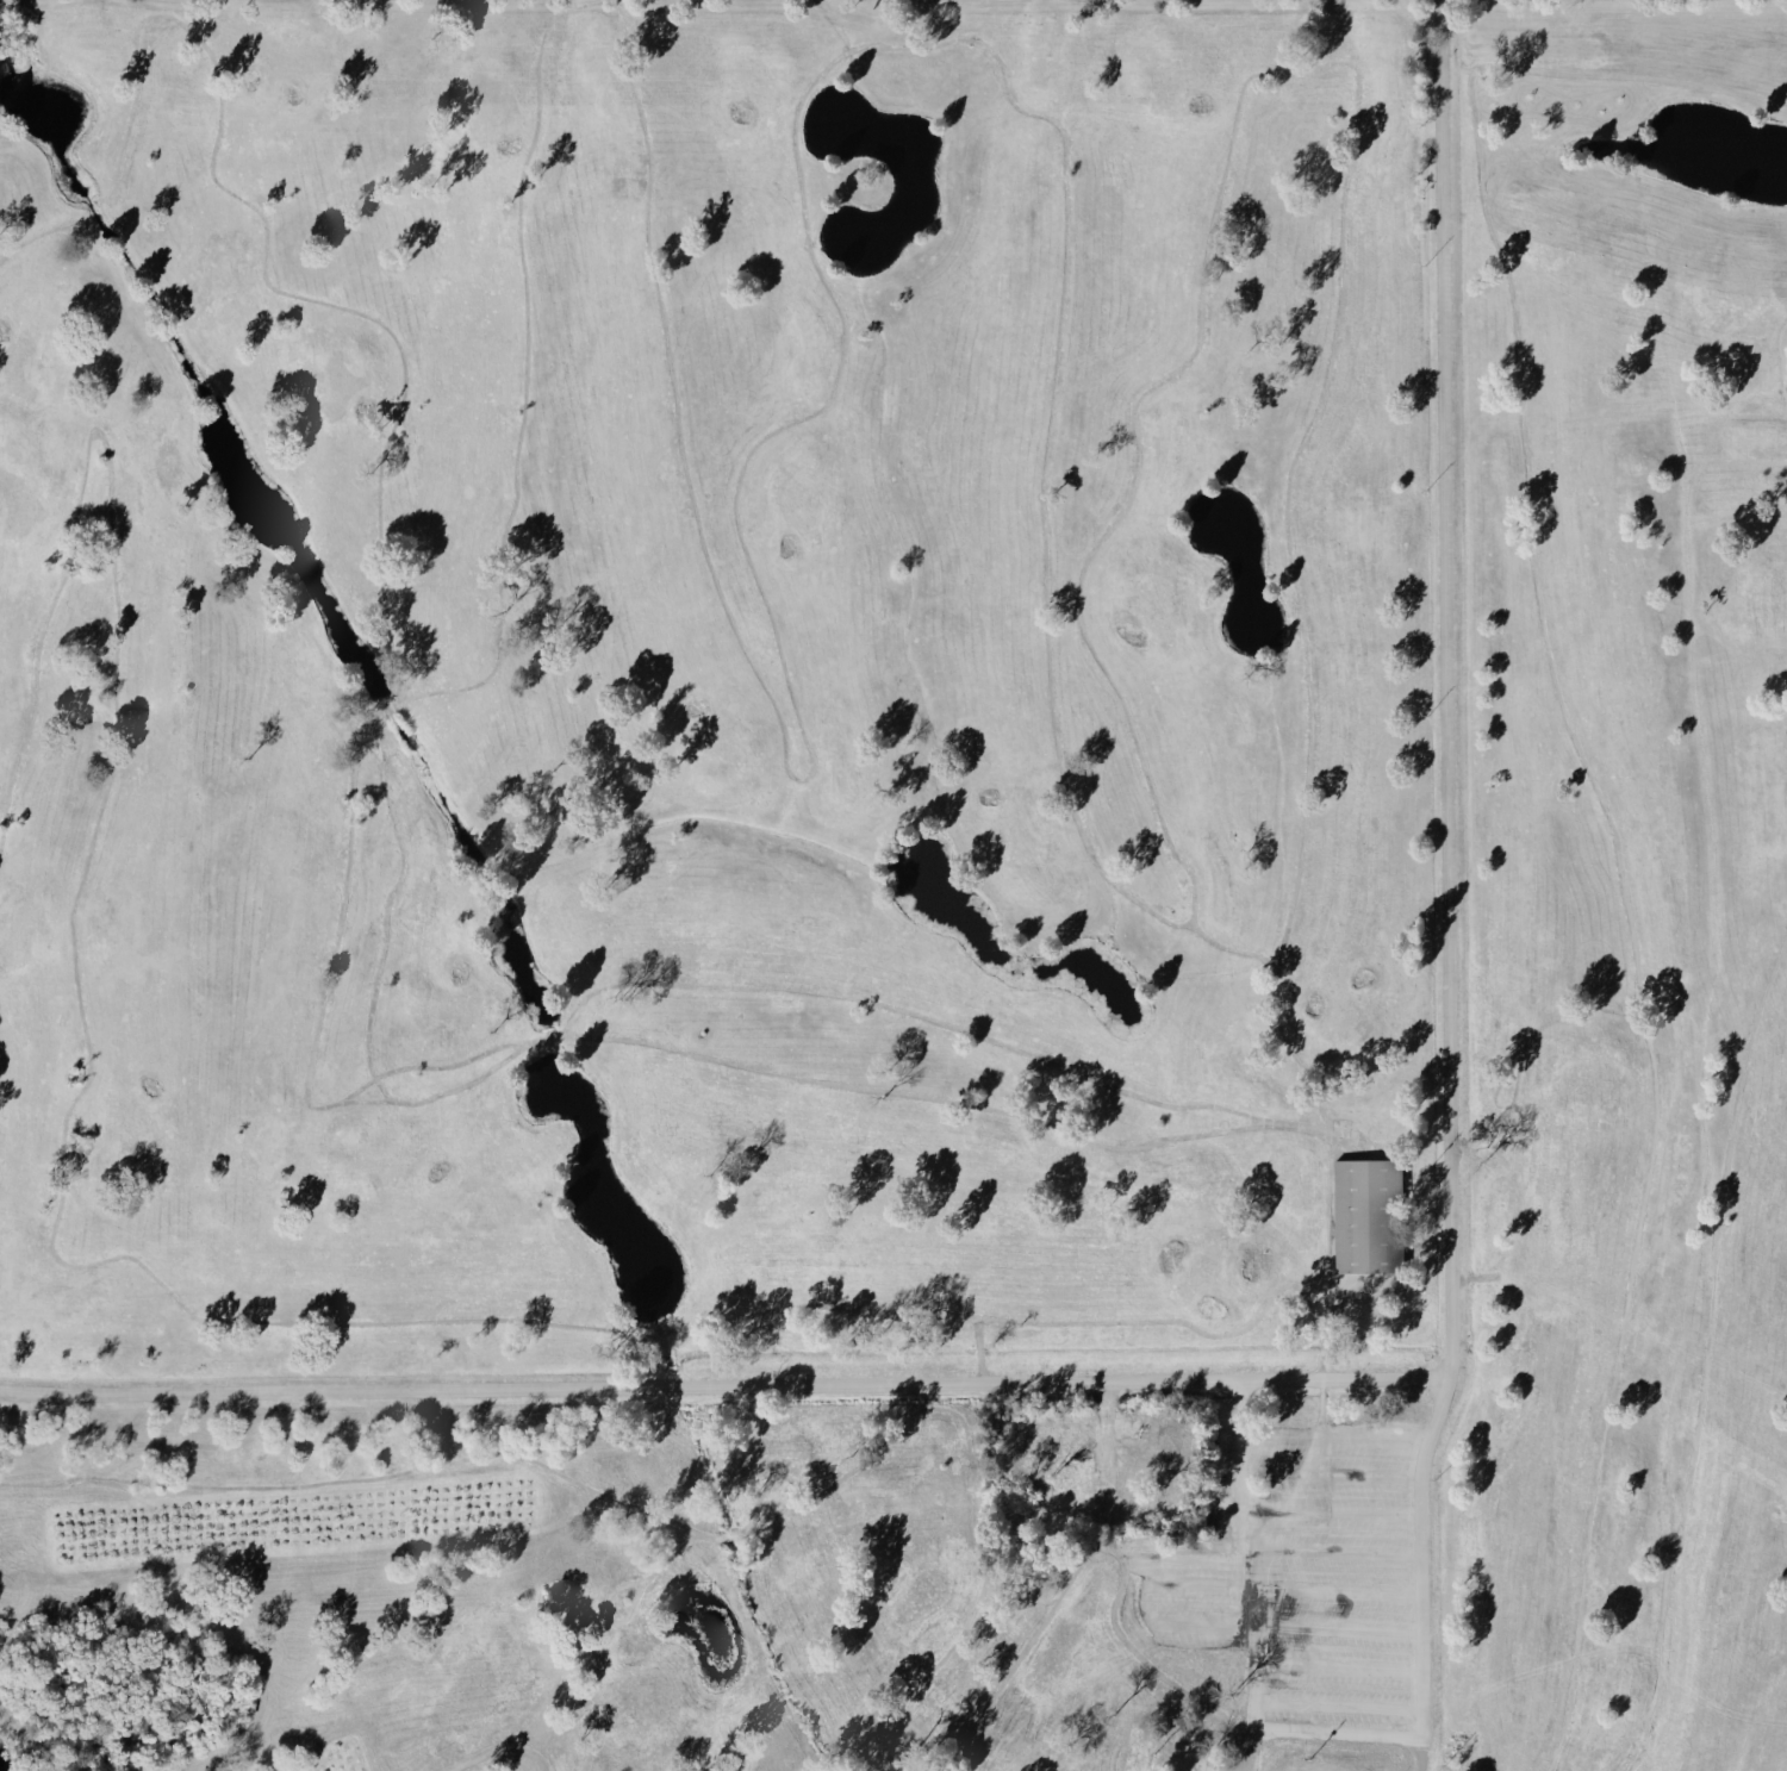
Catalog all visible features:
park: (288, 60)
park: (761, 83)
park: (1178, 83)
park: (492, 110)
road: (1349, 157)
road: (89, 208)
park: (1543, 218)
road: (32, 235)
park: (1744, 272)
road: (267, 278)
road: (1780, 364)
park: (337, 387)
road: (1521, 392)
park: (796, 501)
park: (18, 504)
park: (1775, 597)
park: (1157, 605)
road: (778, 637)
road: (388, 707)
park: (721, 734)
park: (1021, 824)
park: (893, 885)
park: (893, 887)
road: (386, 911)
park: (15, 929)
road: (1263, 959)
park: (1337, 994)
park: (460, 1008)
road: (909, 1011)
road: (319, 1023)
road: (544, 1037)
road: (435, 1066)
park: (1589, 1079)
road: (947, 1099)
park: (129, 1117)
park: (394, 1156)
park: (1291, 1177)
road: (1645, 1193)
building: (1369, 1217)
road: (135, 1258)
park: (1197, 1273)
road: (979, 1352)
road: (1707, 1357)
road: (1414, 1379)
road: (951, 1410)
building: (1190, 1439)
road: (1333, 1439)
road: (1106, 1463)
building: (1071, 1466)
road: (405, 1472)
building: (1188, 1474)
building: (1138, 1476)
road: (1331, 1476)
road: (1338, 1513)
road: (765, 1524)
road: (727, 1534)
road: (1338, 1552)
road: (1135, 1563)
parking lot: (1338, 1582)
road: (1147, 1588)
road: (1337, 1590)
park: (921, 1595)
road: (609, 1616)
road: (1337, 1629)
road: (1141, 1658)
road: (1337, 1666)
road: (933, 1672)
road: (1003, 1682)
park: (468, 1691)
park: (650, 1694)
road: (1337, 1705)
road: (1340, 1732)
building: (1137, 1747)
road: (1175, 1748)
road: (1249, 1750)
road: (505, 1751)
road: (1418, 1752)
road: (1219, 1760)

